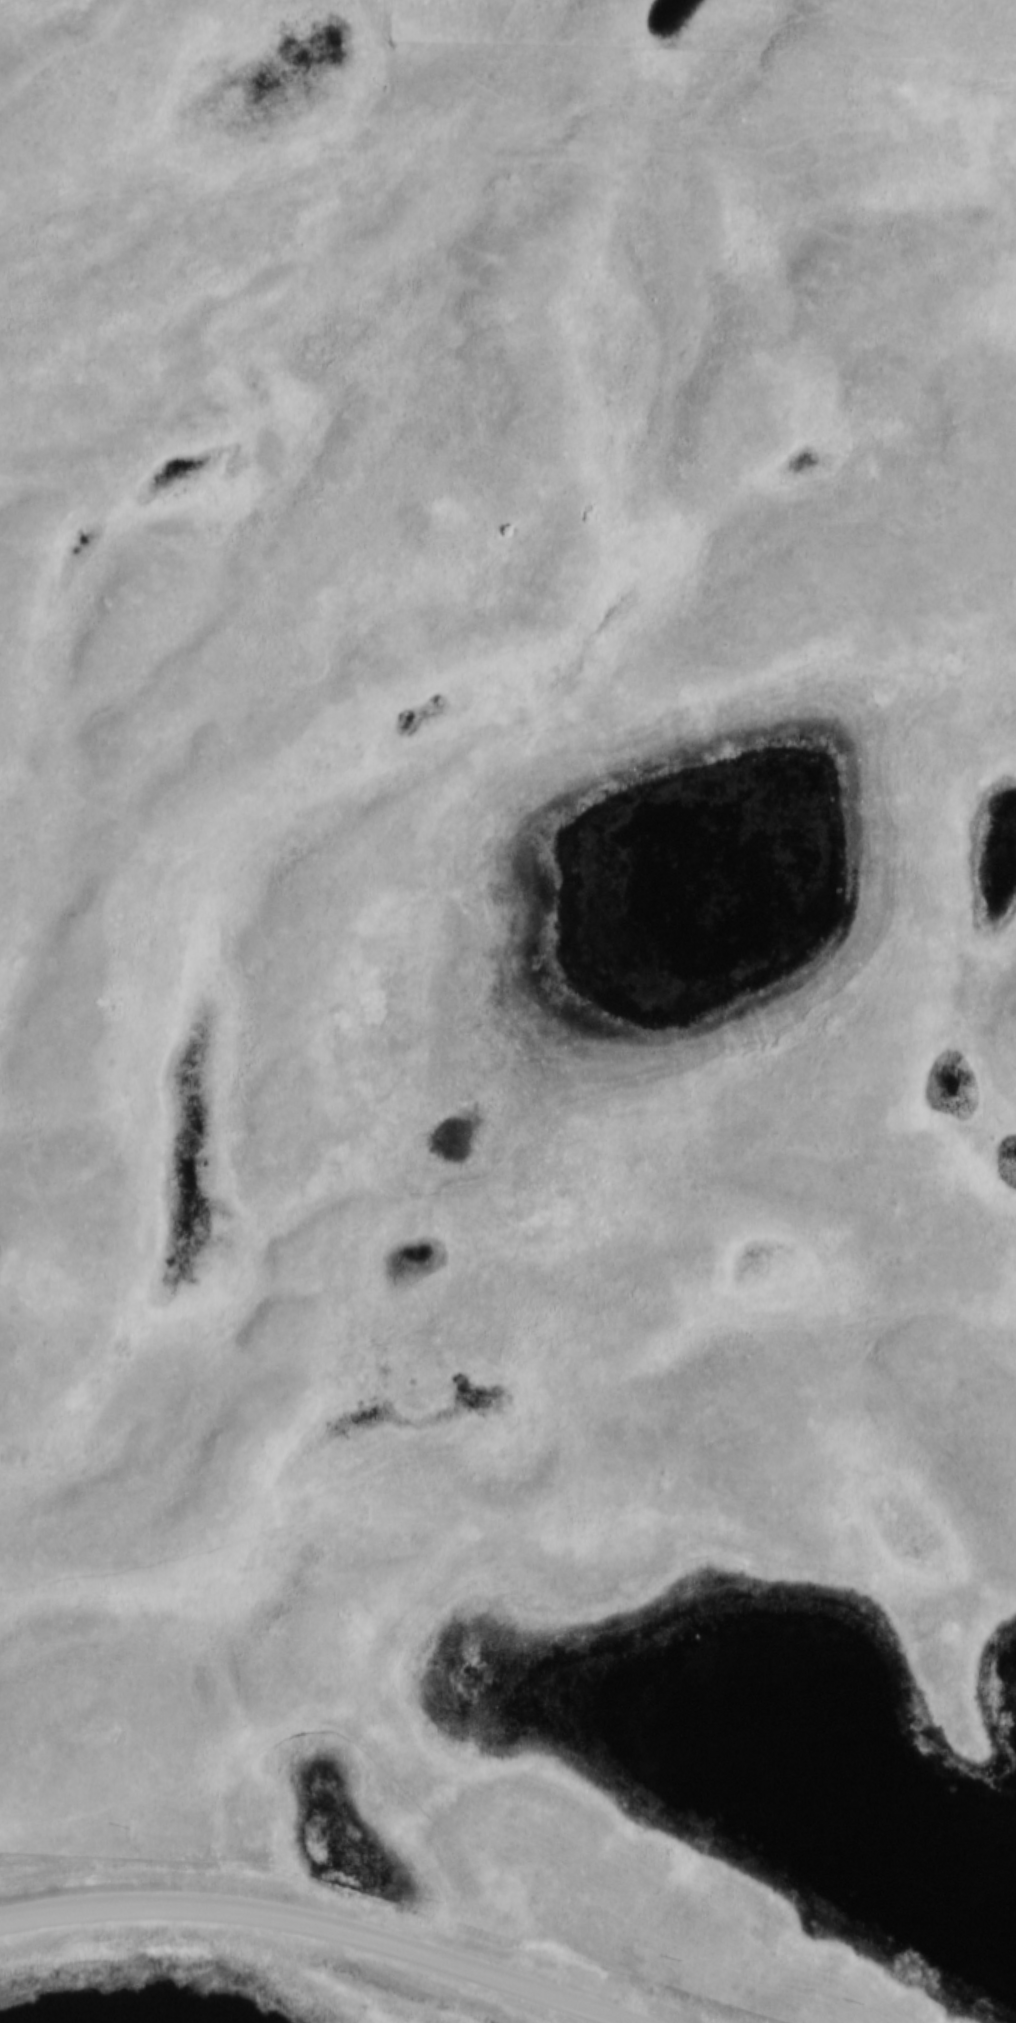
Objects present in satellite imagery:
road: (320, 1929)

